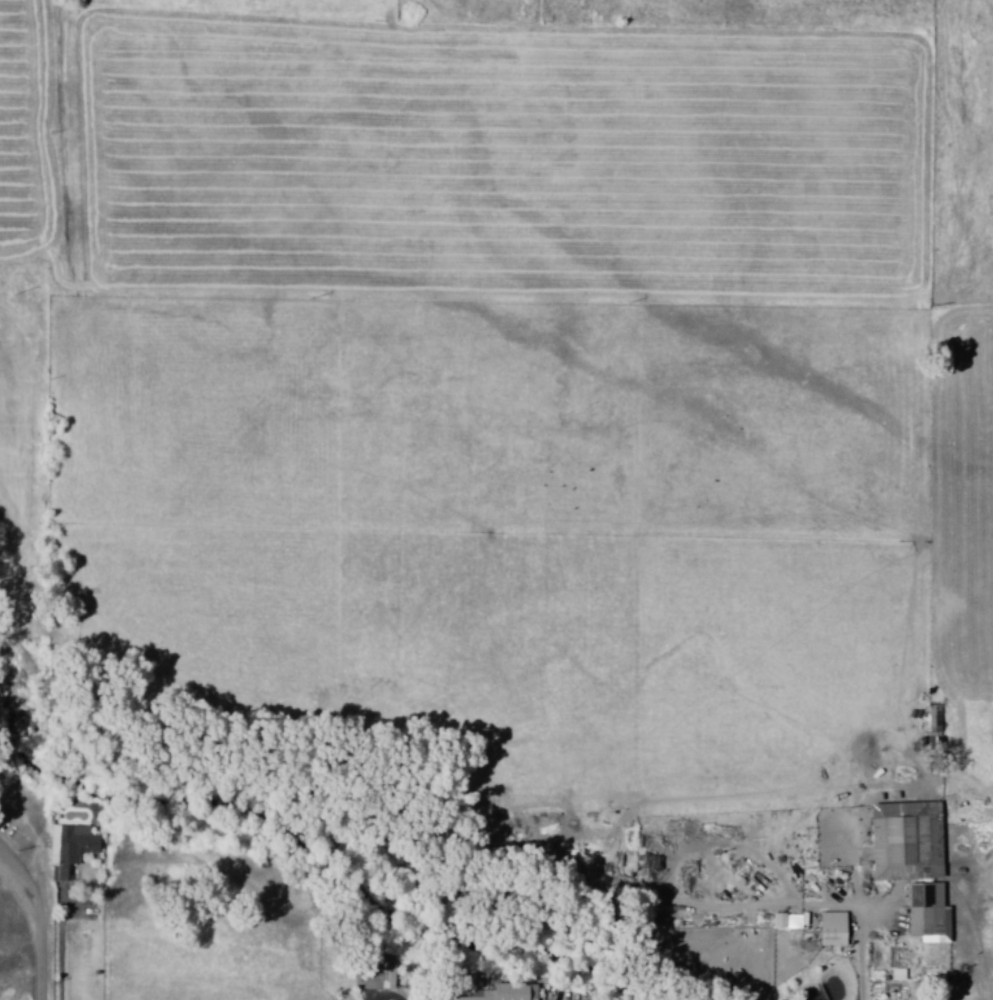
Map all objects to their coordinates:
building: (909, 840)
building: (70, 848)
building: (930, 912)
road: (44, 918)
building: (788, 920)
building: (835, 928)
building: (382, 976)
building: (501, 992)
building: (441, 999)

